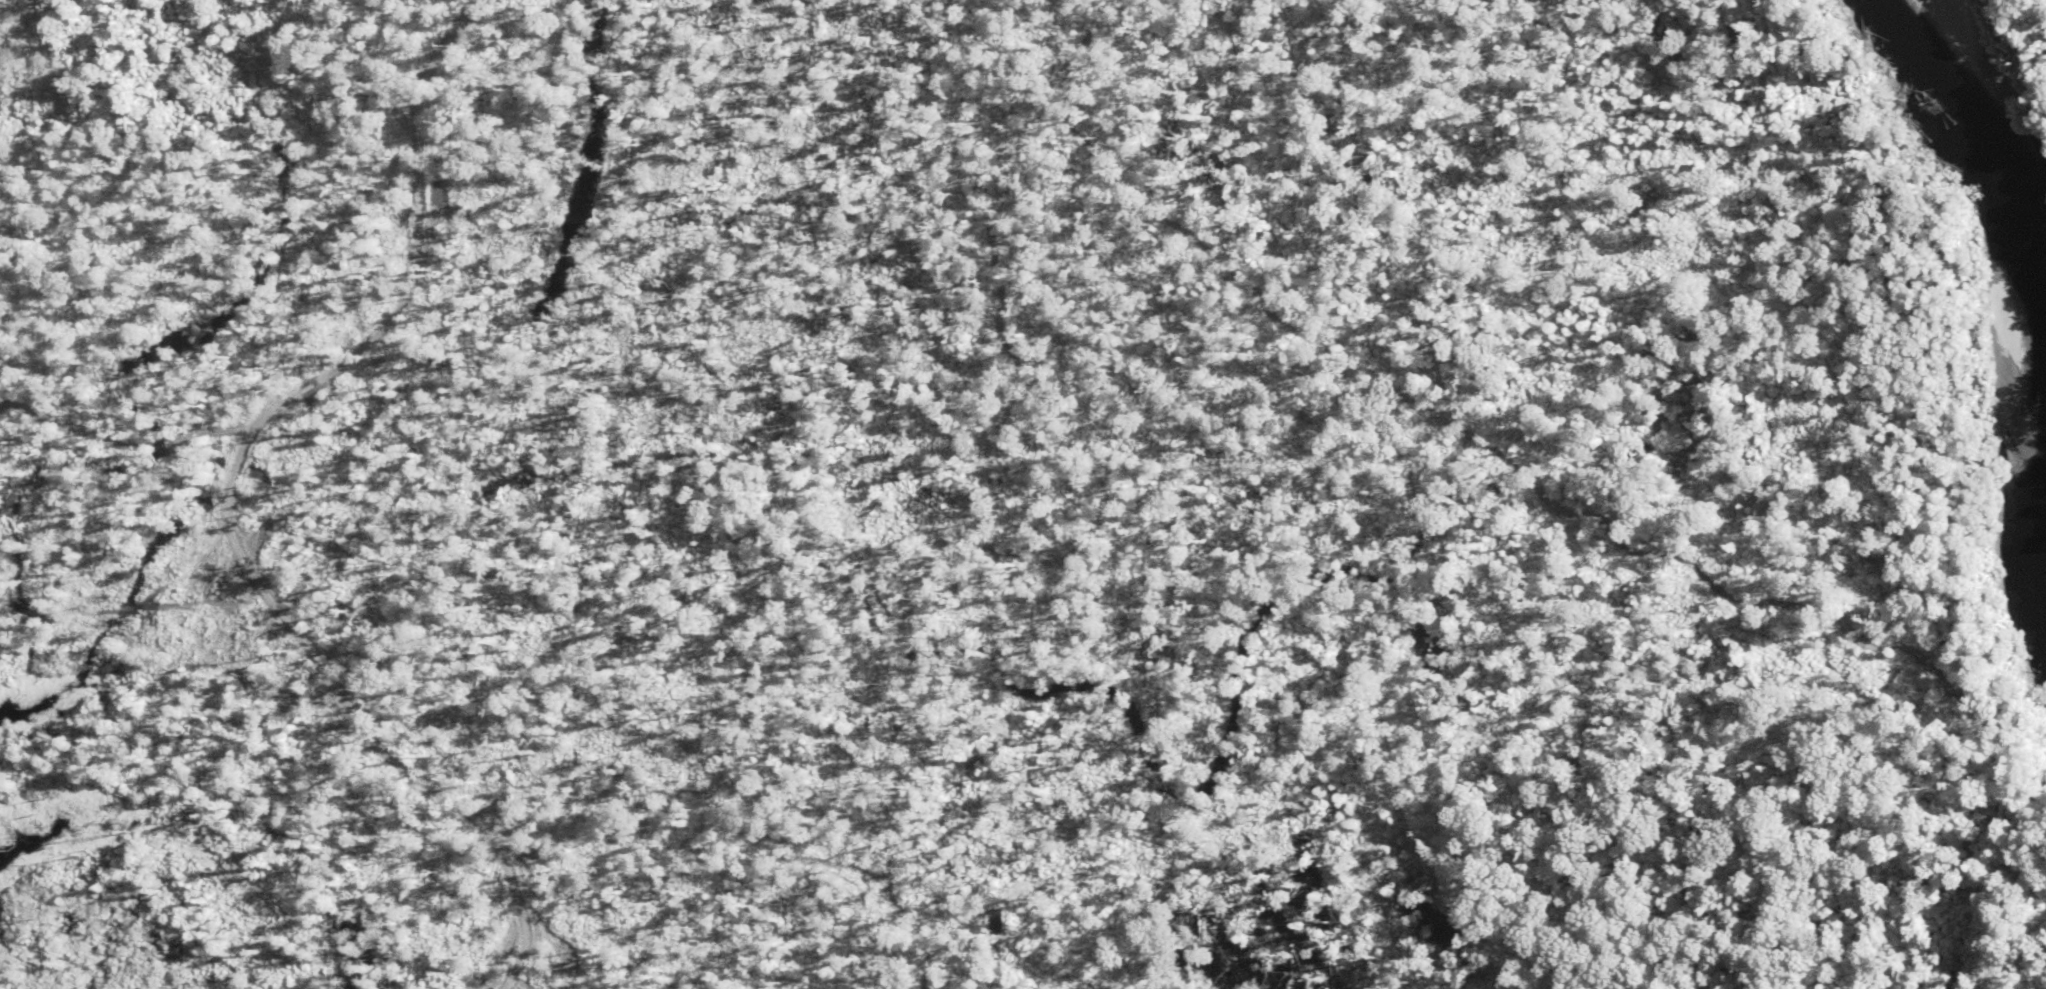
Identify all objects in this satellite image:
river: (2034, 247)

